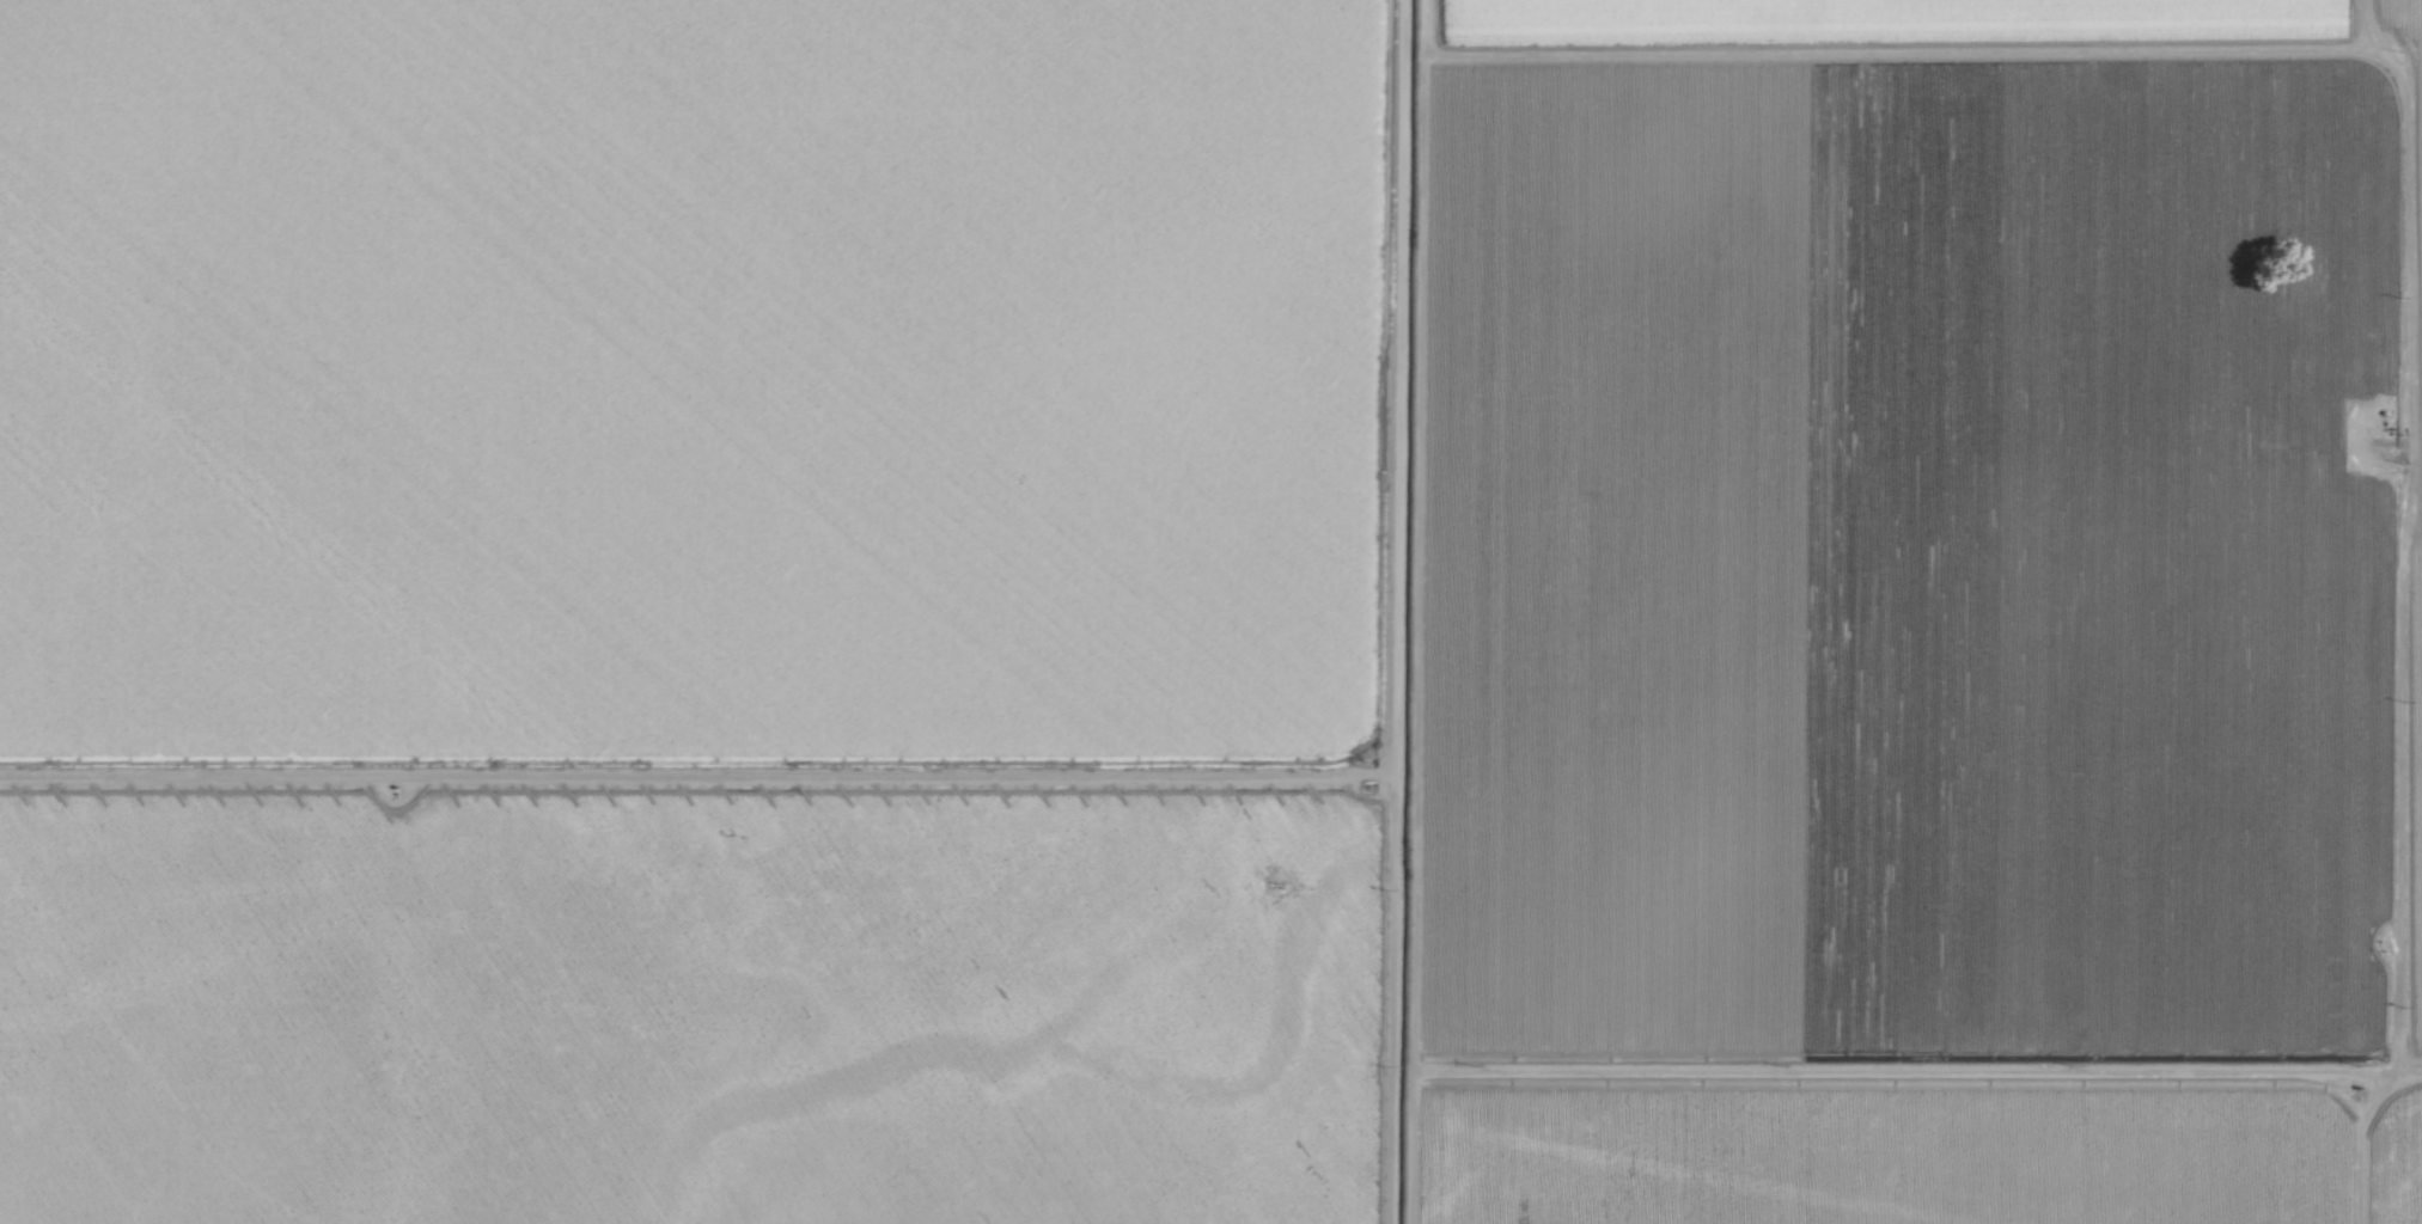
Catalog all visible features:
road: (1396, 612)
road: (2414, 1070)

